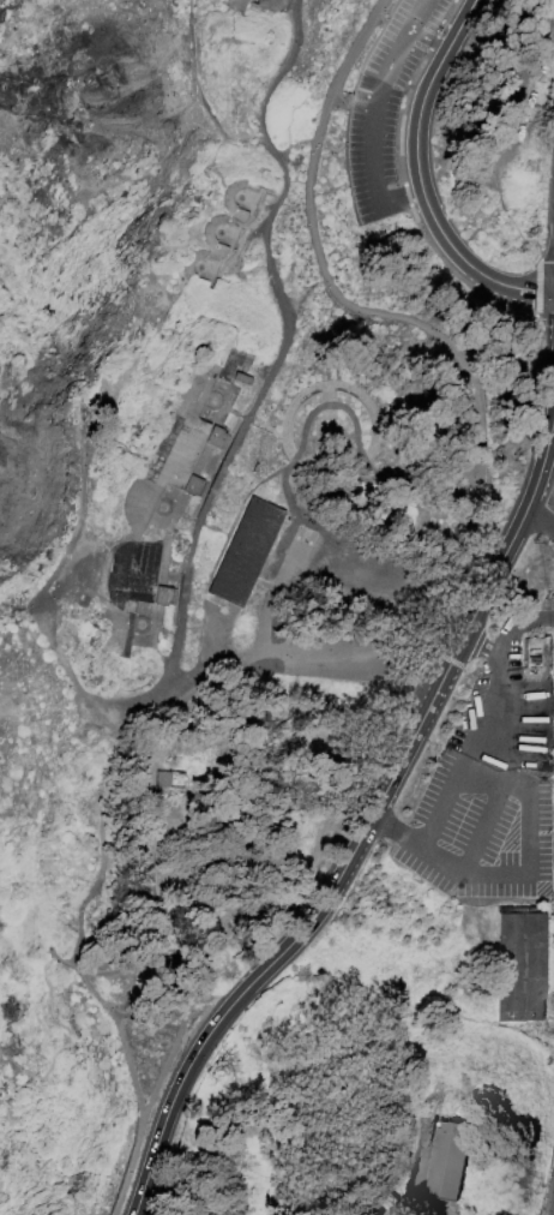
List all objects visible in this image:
building: (253, 5)
road: (417, 14)
road: (389, 26)
road: (428, 40)
road: (350, 102)
parking lot: (385, 107)
road: (504, 133)
road: (369, 137)
road: (295, 142)
road: (420, 178)
road: (404, 181)
road: (257, 204)
road: (258, 205)
road: (261, 225)
building: (222, 233)
road: (242, 237)
road: (237, 240)
road: (239, 240)
road: (197, 255)
road: (225, 256)
road: (321, 265)
road: (218, 275)
road: (535, 285)
road: (543, 315)
road: (530, 316)
road: (152, 339)
road: (283, 349)
road: (165, 353)
road: (227, 369)
road: (254, 372)
road: (153, 377)
road: (511, 377)
road: (330, 384)
road: (327, 387)
road: (224, 394)
road: (327, 401)
road: (218, 409)
road: (243, 415)
road: (251, 420)
road: (188, 421)
road: (305, 431)
road: (277, 433)
road: (552, 433)
road: (188, 471)
road: (418, 491)
building: (165, 501)
road: (164, 520)
road: (194, 520)
road: (538, 522)
road: (203, 523)
road: (223, 533)
building: (245, 551)
road: (293, 562)
road: (211, 569)
road: (342, 588)
road: (48, 594)
park: (277, 607)
parking lot: (331, 614)
road: (429, 617)
road: (532, 618)
road: (267, 622)
road: (174, 632)
road: (508, 641)
road: (483, 642)
road: (321, 657)
road: (465, 664)
road: (188, 675)
road: (501, 702)
road: (462, 750)
road: (398, 761)
road: (538, 778)
building: (169, 779)
road: (512, 782)
parking lot: (487, 789)
road: (490, 797)
road: (331, 804)
road: (35, 830)
road: (176, 831)
road: (396, 832)
road: (526, 834)
road: (471, 872)
road: (541, 892)
road: (79, 908)
road: (37, 917)
road: (58, 958)
building: (526, 964)
road: (53, 1015)
road: (145, 1022)
road: (11, 1058)
road: (157, 1143)
building: (446, 1162)
road: (126, 1167)

